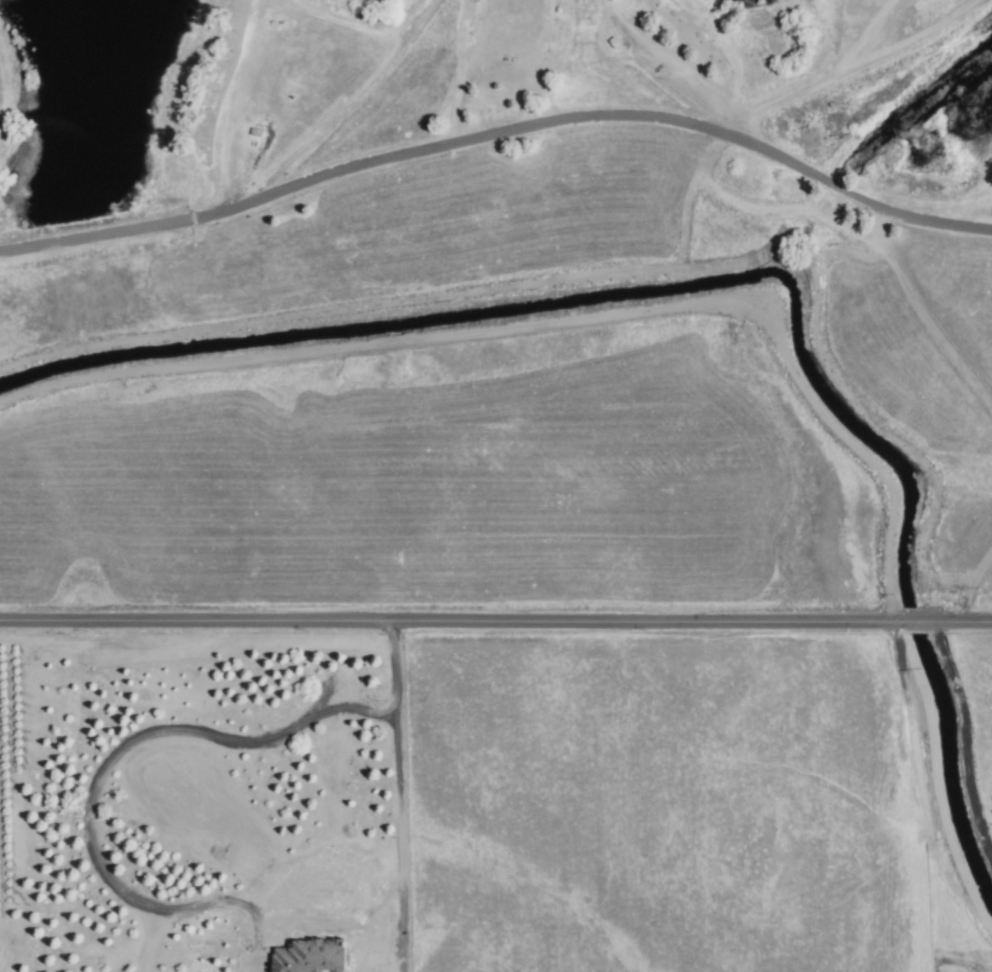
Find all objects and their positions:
road: (857, 38)
road: (902, 44)
road: (774, 102)
road: (499, 131)
river: (897, 521)
road: (496, 619)
road: (392, 652)
road: (97, 772)
crop: (649, 807)
road: (396, 828)
road: (154, 939)
building: (311, 956)
road: (253, 968)

